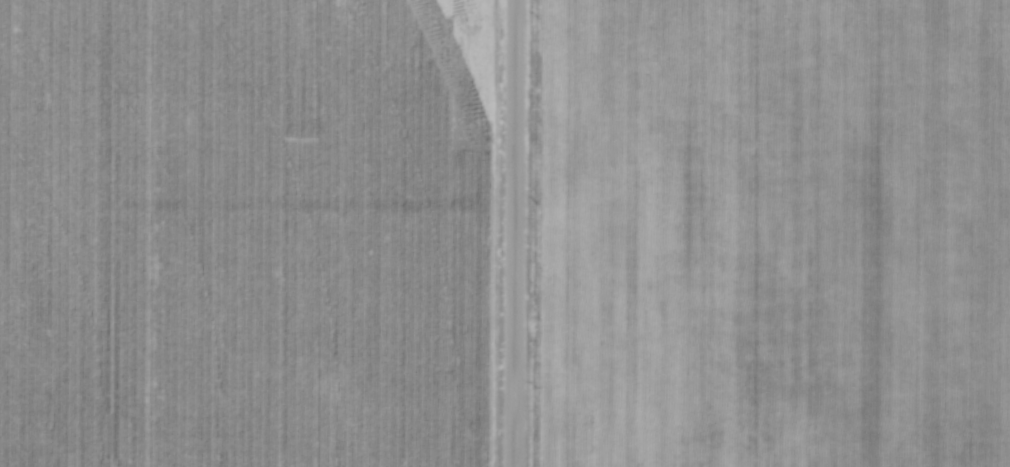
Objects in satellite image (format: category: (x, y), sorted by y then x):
road: (513, 233)

